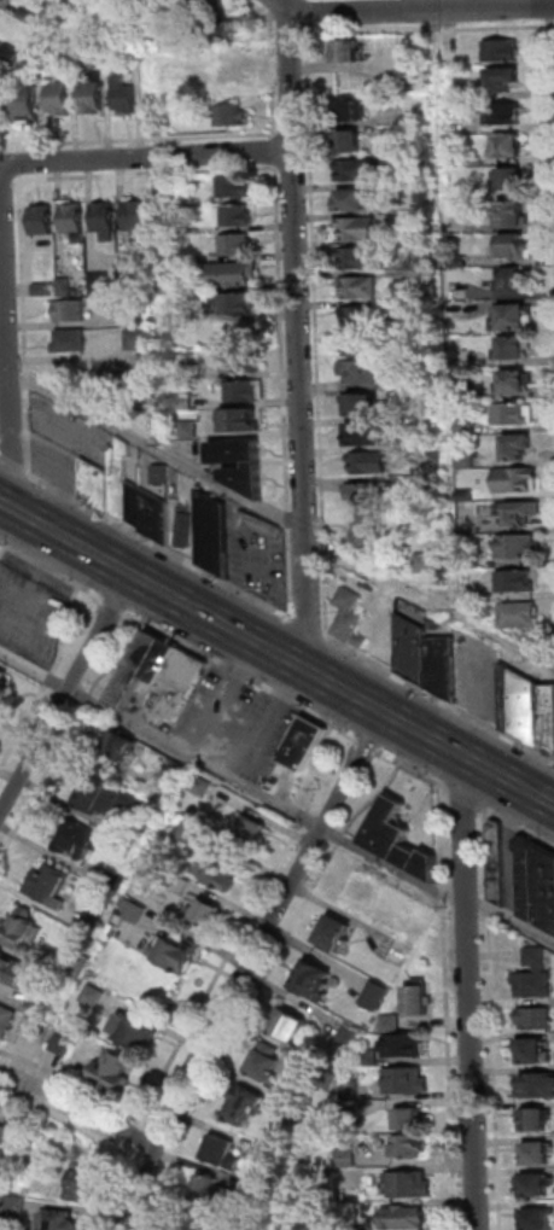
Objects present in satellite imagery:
building: (4, 0)
road: (549, 2)
road: (270, 5)
building: (199, 6)
road: (307, 6)
road: (420, 8)
road: (262, 10)
building: (27, 16)
road: (284, 23)
building: (220, 31)
building: (129, 40)
building: (419, 42)
building: (502, 49)
building: (349, 51)
building: (10, 52)
building: (33, 65)
building: (233, 70)
road: (273, 72)
building: (500, 78)
building: (93, 94)
building: (126, 94)
building: (60, 97)
building: (29, 103)
building: (350, 110)
building: (508, 112)
building: (231, 115)
road: (136, 140)
building: (351, 141)
building: (505, 144)
road: (19, 150)
road: (275, 152)
road: (21, 163)
building: (357, 168)
road: (147, 174)
building: (513, 177)
building: (161, 186)
building: (235, 187)
road: (2, 190)
road: (6, 191)
road: (17, 191)
building: (354, 199)
building: (514, 212)
building: (238, 216)
building: (42, 218)
building: (74, 220)
building: (105, 220)
building: (138, 221)
building: (355, 227)
building: (238, 244)
building: (515, 245)
building: (357, 256)
building: (129, 262)
building: (232, 274)
building: (511, 279)
building: (101, 282)
building: (164, 284)
building: (357, 285)
building: (65, 286)
building: (43, 290)
building: (238, 303)
road: (2, 309)
building: (69, 309)
building: (141, 314)
building: (354, 315)
building: (515, 316)
road: (23, 323)
road: (299, 336)
building: (139, 338)
building: (71, 339)
building: (515, 348)
building: (243, 361)
building: (192, 368)
building: (362, 371)
building: (433, 375)
building: (517, 380)
building: (134, 384)
building: (246, 389)
road: (284, 391)
building: (185, 401)
building: (356, 403)
building: (513, 414)
building: (241, 419)
building: (191, 430)
building: (367, 433)
building: (519, 445)
road: (156, 448)
building: (237, 450)
building: (467, 459)
building: (371, 462)
road: (12, 465)
building: (161, 473)
building: (121, 478)
building: (247, 478)
building: (515, 479)
building: (98, 484)
building: (358, 491)
building: (467, 495)
building: (135, 503)
building: (514, 512)
building: (156, 515)
building: (257, 524)
building: (185, 526)
building: (363, 530)
building: (214, 532)
building: (518, 544)
road: (159, 546)
building: (0, 560)
building: (432, 562)
road: (48, 567)
building: (517, 581)
road: (431, 599)
road: (112, 604)
building: (485, 611)
building: (519, 616)
building: (350, 617)
road: (307, 625)
building: (414, 649)
road: (276, 654)
building: (163, 661)
building: (443, 665)
building: (138, 670)
road: (243, 675)
building: (4, 676)
road: (47, 677)
building: (179, 683)
road: (63, 692)
road: (437, 698)
building: (529, 709)
building: (305, 744)
road: (368, 744)
building: (122, 746)
road: (415, 770)
building: (180, 773)
road: (231, 776)
building: (202, 786)
building: (93, 792)
building: (113, 799)
road: (466, 799)
building: (130, 803)
road: (519, 827)
building: (252, 829)
building: (186, 832)
building: (77, 839)
building: (401, 840)
building: (498, 863)
building: (221, 870)
building: (537, 882)
building: (180, 884)
building: (51, 886)
building: (361, 888)
building: (133, 910)
building: (208, 913)
road: (508, 919)
building: (99, 920)
building: (400, 921)
road: (241, 929)
building: (23, 931)
building: (336, 933)
building: (175, 951)
building: (536, 958)
building: (75, 964)
road: (246, 966)
building: (13, 970)
building: (314, 980)
road: (259, 985)
building: (535, 985)
building: (375, 995)
road: (466, 995)
building: (93, 996)
building: (419, 1001)
road: (447, 1007)
building: (36, 1008)
building: (536, 1019)
building: (7, 1020)
building: (391, 1024)
building: (288, 1025)
building: (36, 1031)
building: (134, 1032)
building: (349, 1036)
building: (63, 1045)
building: (403, 1045)
building: (535, 1053)
building: (371, 1059)
building: (268, 1063)
building: (115, 1071)
building: (406, 1082)
building: (538, 1086)
building: (351, 1090)
road: (78, 1104)
building: (244, 1106)
building: (351, 1109)
road: (66, 1120)
building: (535, 1120)
road: (150, 1121)
building: (409, 1121)
road: (162, 1130)
building: (6, 1135)
road: (136, 1137)
road: (175, 1137)
building: (407, 1147)
building: (222, 1153)
building: (262, 1153)
building: (537, 1154)
building: (4, 1156)
building: (346, 1159)
building: (325, 1182)
building: (83, 1183)
building: (409, 1184)
building: (535, 1185)
road: (123, 1187)
building: (262, 1193)
building: (210, 1194)
building: (16, 1206)
building: (407, 1219)
building: (540, 1219)
building: (62, 1222)
building: (203, 1226)

